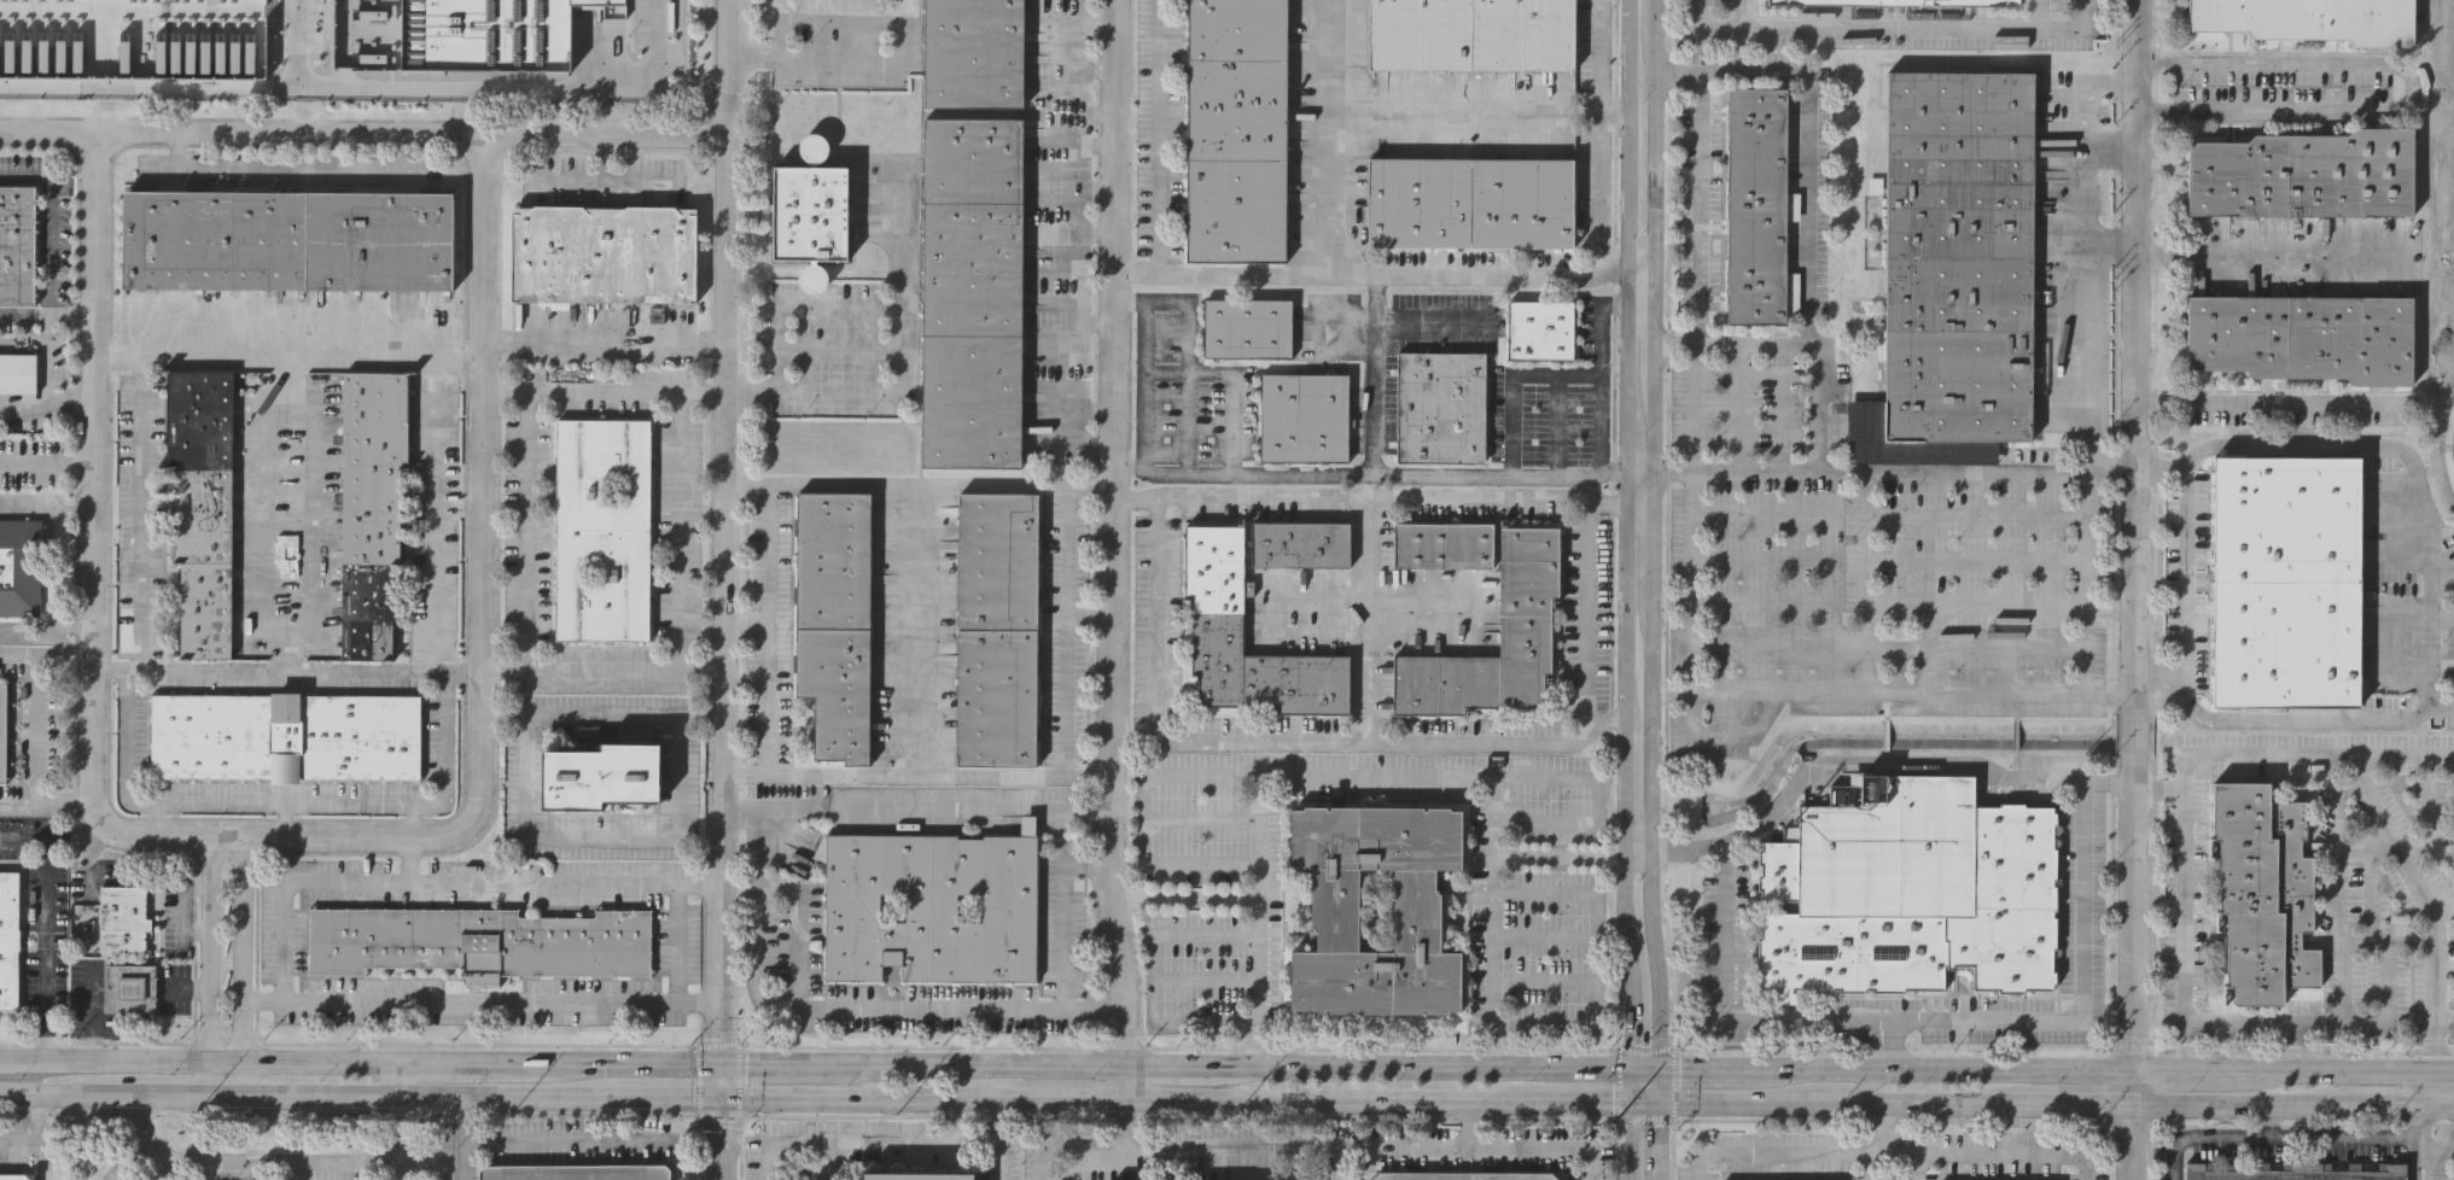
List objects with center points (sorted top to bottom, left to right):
building: (1900, 1)
road: (45, 7)
road: (1749, 11)
building: (2310, 18)
road: (1894, 23)
road: (1101, 24)
road: (776, 30)
building: (488, 33)
building: (1471, 34)
building: (216, 36)
road: (344, 45)
building: (972, 52)
road: (751, 58)
road: (867, 62)
road: (1101, 69)
road: (57, 87)
road: (2411, 87)
road: (200, 89)
road: (471, 92)
road: (1101, 113)
road: (1471, 113)
road: (105, 116)
road: (416, 119)
building: (1237, 129)
road: (363, 133)
road: (1101, 144)
road: (177, 147)
road: (1809, 157)
road: (305, 165)
building: (2304, 173)
road: (27, 175)
road: (591, 181)
road: (641, 181)
road: (72, 185)
road: (1101, 191)
building: (1468, 200)
building: (1750, 203)
building: (810, 211)
road: (1101, 232)
road: (1317, 235)
building: (290, 238)
building: (18, 243)
road: (2110, 244)
road: (47, 249)
road: (1086, 249)
road: (1697, 251)
building: (606, 252)
road: (2273, 256)
road: (1471, 270)
road: (1640, 270)
building: (1952, 271)
building: (974, 292)
road: (794, 308)
road: (46, 314)
road: (1432, 319)
road: (1101, 322)
building: (1248, 326)
building: (1541, 326)
building: (2303, 338)
road: (1675, 340)
road: (604, 344)
road: (2, 346)
road: (1818, 347)
road: (47, 352)
road: (288, 358)
road: (2085, 361)
road: (894, 370)
building: (21, 372)
road: (1372, 372)
road: (1599, 373)
road: (1509, 379)
road: (604, 389)
road: (1226, 391)
road: (47, 401)
building: (1441, 404)
road: (2267, 404)
road: (1100, 408)
road: (23, 410)
road: (70, 410)
building: (1305, 415)
road: (1100, 442)
road: (2336, 445)
road: (47, 462)
road: (1638, 471)
road: (1893, 472)
road: (1498, 475)
road: (745, 481)
road: (794, 481)
road: (1369, 493)
road: (46, 500)
building: (371, 506)
building: (204, 507)
road: (1638, 508)
road: (269, 512)
road: (435, 513)
road: (311, 515)
road: (1952, 516)
building: (602, 528)
road: (526, 530)
road: (681, 531)
road: (723, 531)
road: (1113, 531)
road: (1624, 533)
road: (2135, 533)
road: (1650, 536)
building: (1300, 545)
road: (93, 547)
building: (1442, 547)
building: (21, 565)
road: (2181, 578)
building: (2283, 579)
road: (483, 595)
road: (1694, 602)
road: (1672, 606)
road: (1933, 606)
road: (2110, 611)
road: (1155, 613)
road: (1090, 618)
road: (1369, 618)
building: (835, 620)
building: (1217, 624)
road: (46, 625)
building: (1525, 625)
road: (745, 626)
road: (2426, 627)
road: (926, 629)
building: (998, 629)
road: (1067, 630)
road: (1584, 635)
road: (46, 658)
road: (287, 667)
road: (602, 671)
road: (1913, 691)
road: (2284, 718)
road: (36, 730)
building: (2, 731)
building: (285, 734)
road: (1348, 741)
road: (2299, 752)
road: (1877, 764)
road: (916, 773)
road: (1375, 773)
building: (600, 776)
road: (1557, 776)
road: (130, 799)
road: (47, 804)
road: (917, 806)
road: (159, 816)
road: (526, 816)
road: (286, 817)
road: (1142, 817)
road: (414, 818)
road: (2395, 848)
road: (2367, 849)
road: (1560, 855)
road: (1633, 855)
road: (286, 880)
road: (542, 882)
building: (2263, 890)
building: (1910, 893)
road: (1185, 899)
road: (2338, 902)
building: (931, 907)
building: (1330, 910)
road: (1063, 911)
road: (1592, 913)
building: (124, 915)
road: (45, 916)
building: (10, 936)
building: (476, 941)
road: (678, 942)
road: (2363, 946)
road: (243, 948)
road: (209, 951)
road: (1156, 974)
building: (133, 986)
road: (2083, 992)
road: (480, 999)
road: (1592, 1003)
road: (812, 1006)
road: (1092, 1010)
road: (97, 1015)
road: (2271, 1021)
road: (2444, 1021)
road: (1745, 1023)
road: (22, 1059)
road: (226, 1059)
road: (479, 1061)
road: (635, 1061)
traffic signals: (719, 1062)
road: (792, 1062)
road: (992, 1062)
road: (1185, 1063)
road: (1434, 1065)
traffic signals: (1617, 1068)
road: (1634, 1069)
road: (1953, 1069)
road: (2204, 1069)
road: (1712, 1070)
road: (2354, 1070)
traffic signals: (1651, 1071)
road: (2443, 1071)
road: (231, 1079)
road: (408, 1079)
road: (1120, 1082)
road: (2431, 1088)
road: (1858, 1091)
road: (63, 1096)
road: (179, 1096)
road: (354, 1097)
traffic signals: (722, 1102)
road: (1465, 1102)
traffic signals: (1617, 1104)
traffic signals: (1650, 1106)
road: (43, 1120)
road: (722, 1120)
road: (954, 1120)
road: (468, 1121)
road: (1121, 1122)
road: (1617, 1123)
road: (2134, 1123)
road: (1650, 1124)
road: (1469, 1126)
road: (2415, 1134)
road: (398, 1138)
road: (881, 1138)
road: (142, 1141)
road: (549, 1141)
road: (39, 1143)
road: (2267, 1143)
road: (2431, 1143)
road: (1068, 1144)
road: (1217, 1145)
road: (1459, 1147)
road: (2442, 1147)
road: (1998, 1150)
road: (1313, 1151)
road: (1802, 1152)
road: (2153, 1152)
road: (431, 1158)
road: (268, 1161)
road: (2415, 1161)
road: (1918, 1164)
road: (1865, 1167)
building: (573, 1172)
building: (2292, 1172)
building: (14, 1176)
building: (917, 1176)
building: (1463, 1176)

